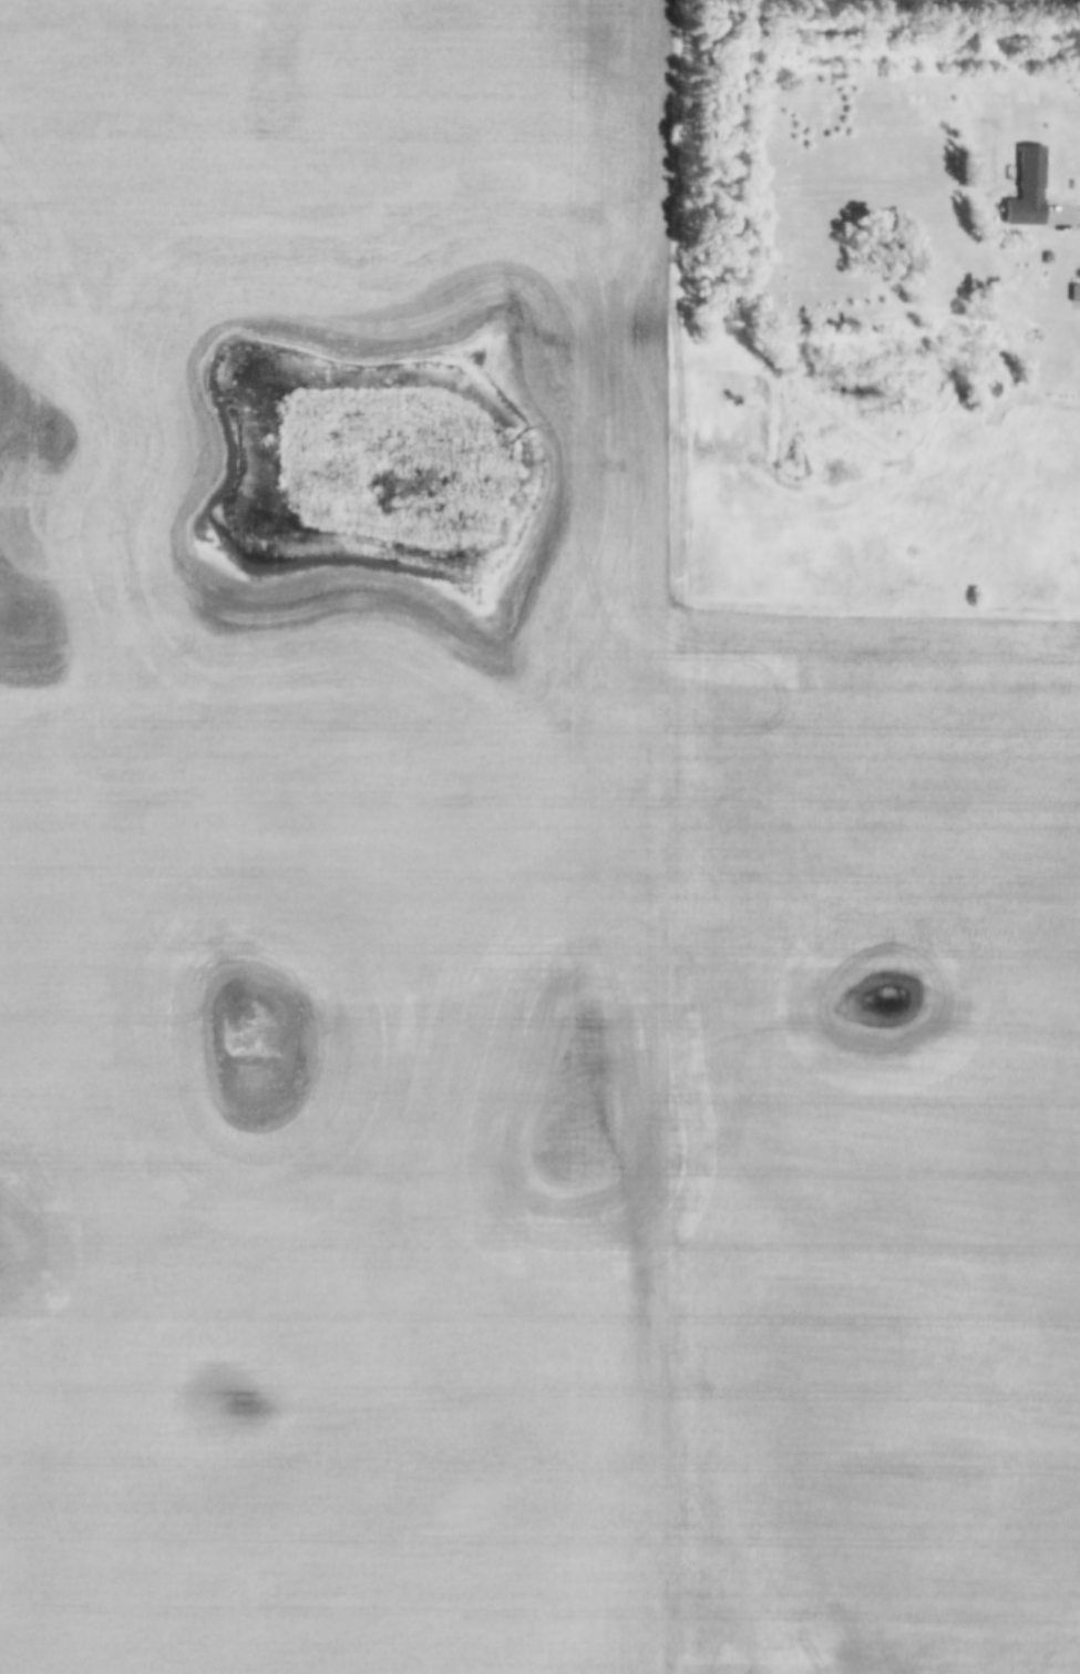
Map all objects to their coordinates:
building: (1027, 192)
building: (1074, 295)
road: (680, 384)

